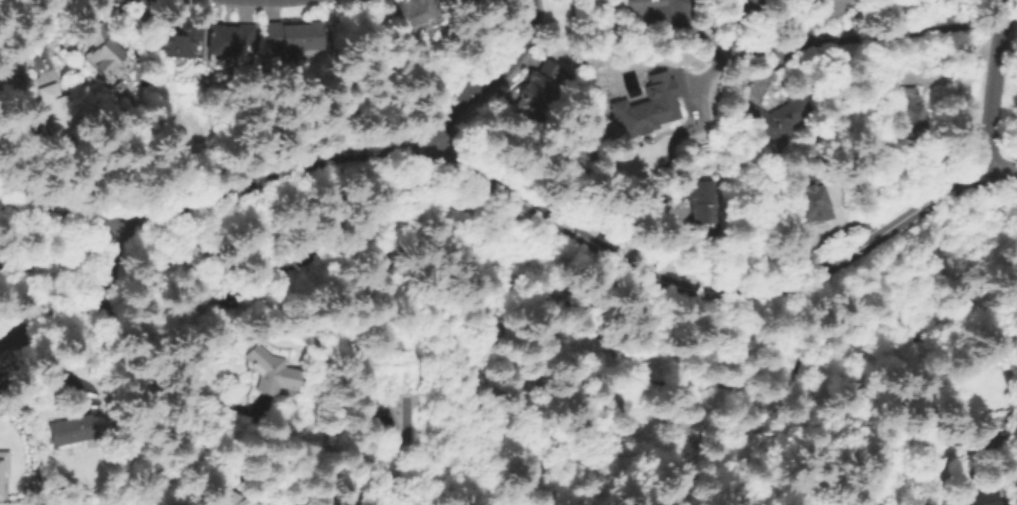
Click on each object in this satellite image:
building: (452, 1)
building: (414, 8)
road: (738, 21)
road: (36, 35)
building: (295, 37)
building: (231, 40)
road: (861, 40)
building: (184, 41)
building: (109, 53)
road: (949, 71)
building: (9, 76)
road: (486, 81)
road: (992, 87)
building: (540, 88)
road: (737, 88)
building: (65, 102)
building: (647, 107)
building: (908, 109)
building: (775, 112)
road: (1004, 172)
road: (511, 194)
building: (704, 198)
building: (812, 204)
road: (91, 309)
building: (10, 336)
building: (272, 367)
building: (631, 395)
building: (72, 427)
building: (693, 429)
building: (998, 437)
building: (3, 463)
building: (233, 497)
building: (982, 497)

